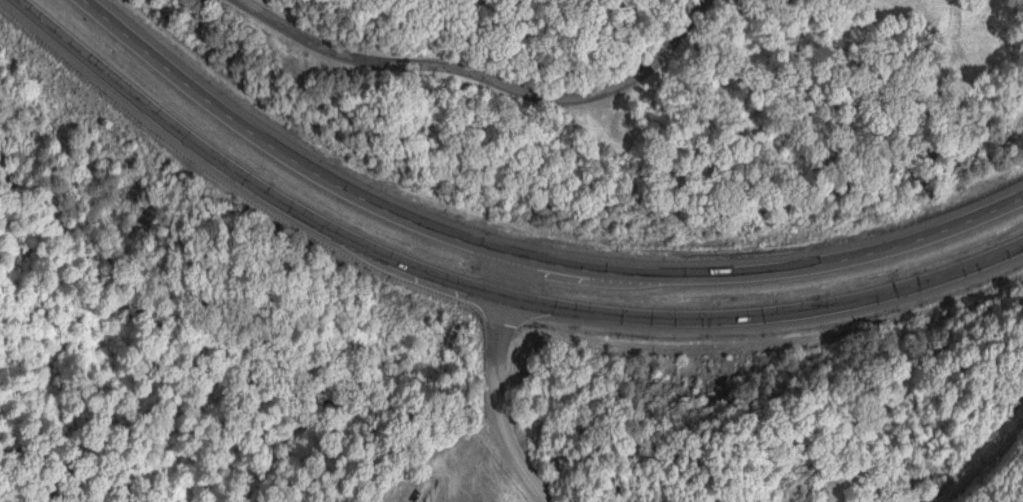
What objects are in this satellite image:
road: (488, 81)
road: (520, 258)
road: (479, 290)
road: (494, 386)

